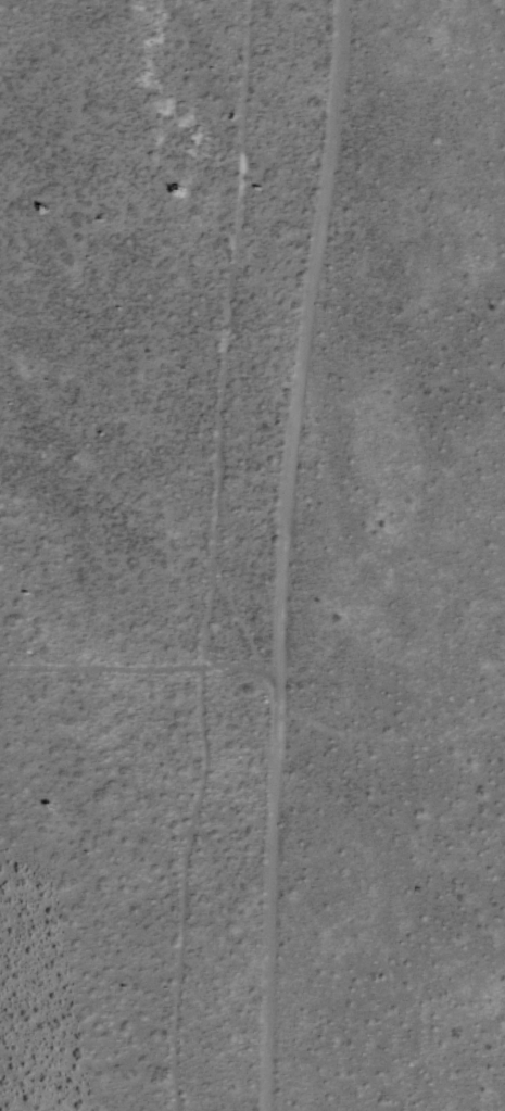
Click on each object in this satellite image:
road: (287, 554)
road: (141, 671)

